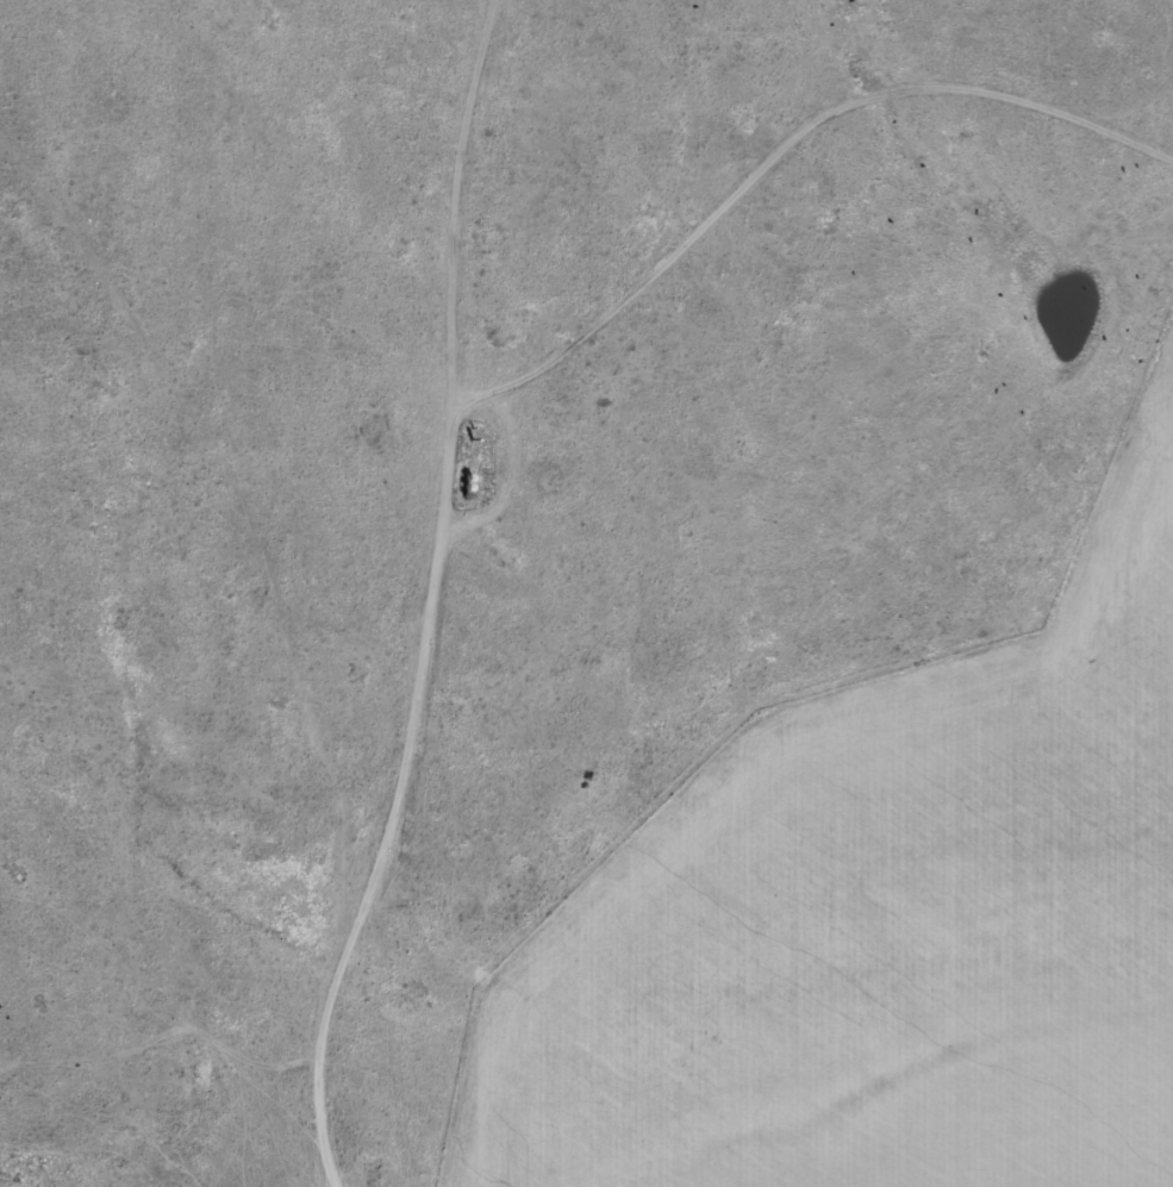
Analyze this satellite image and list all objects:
road: (423, 439)
road: (275, 645)

